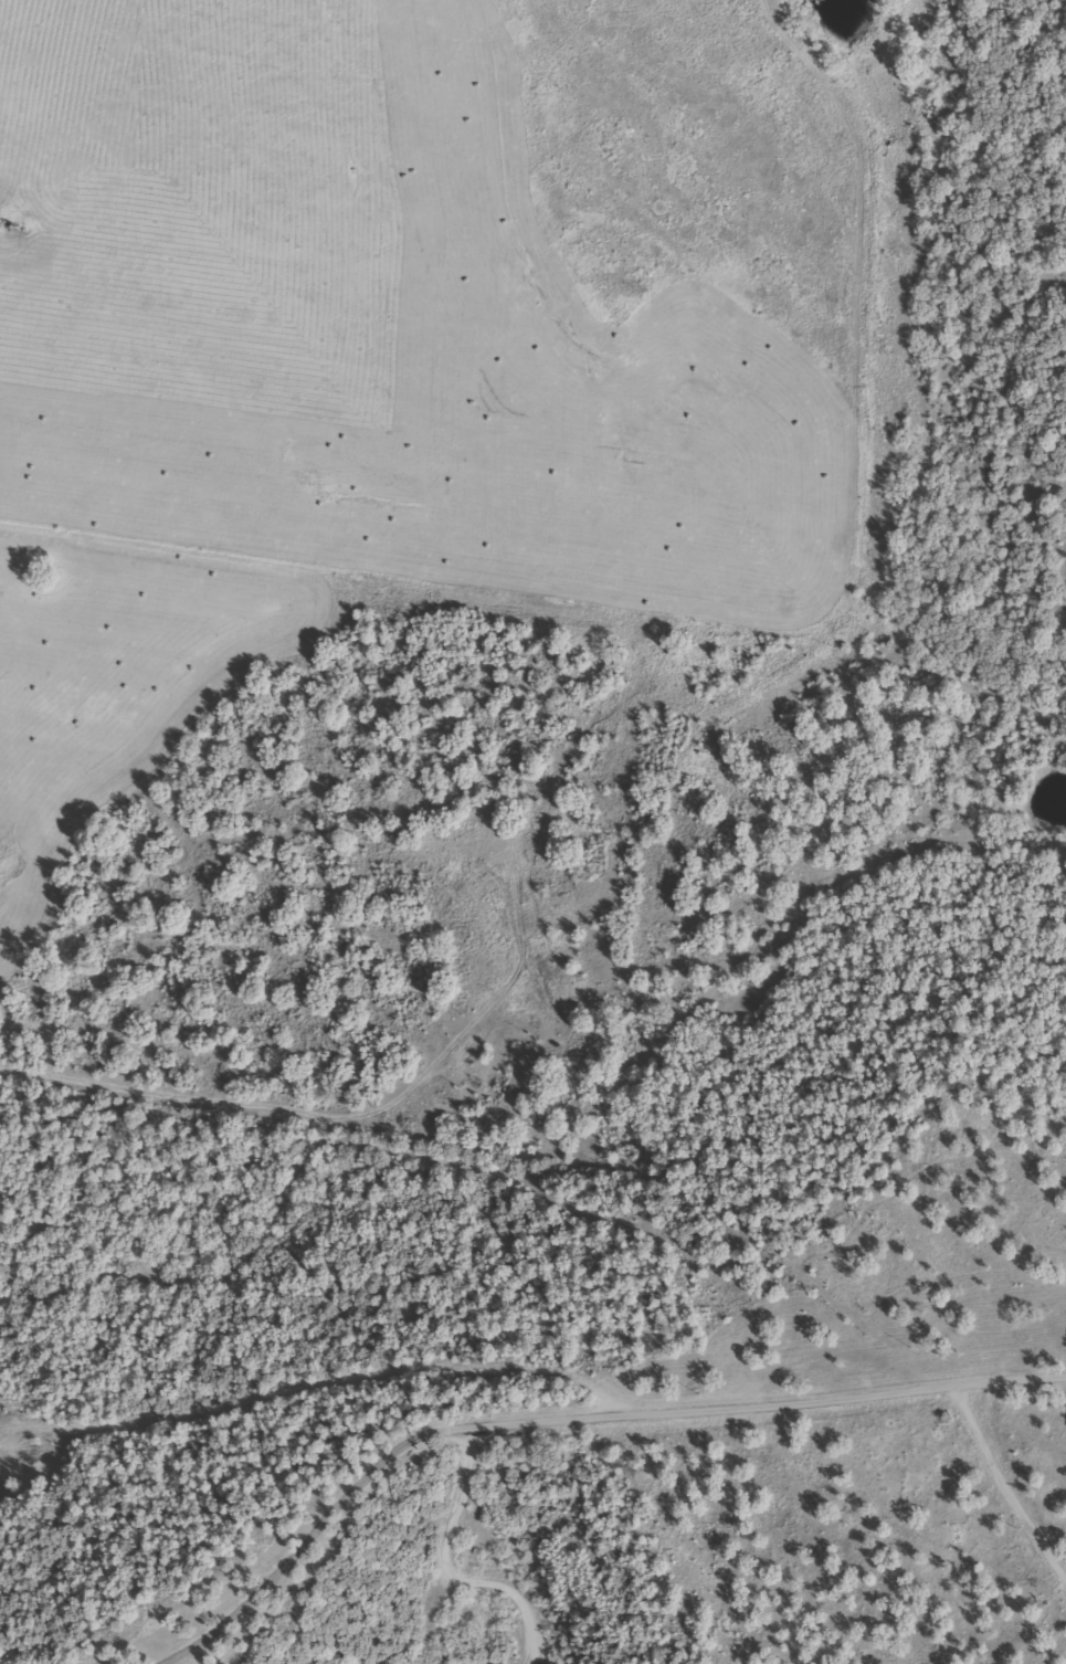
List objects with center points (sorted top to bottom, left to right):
road: (619, 1418)
road: (1009, 1481)
road: (310, 1537)

